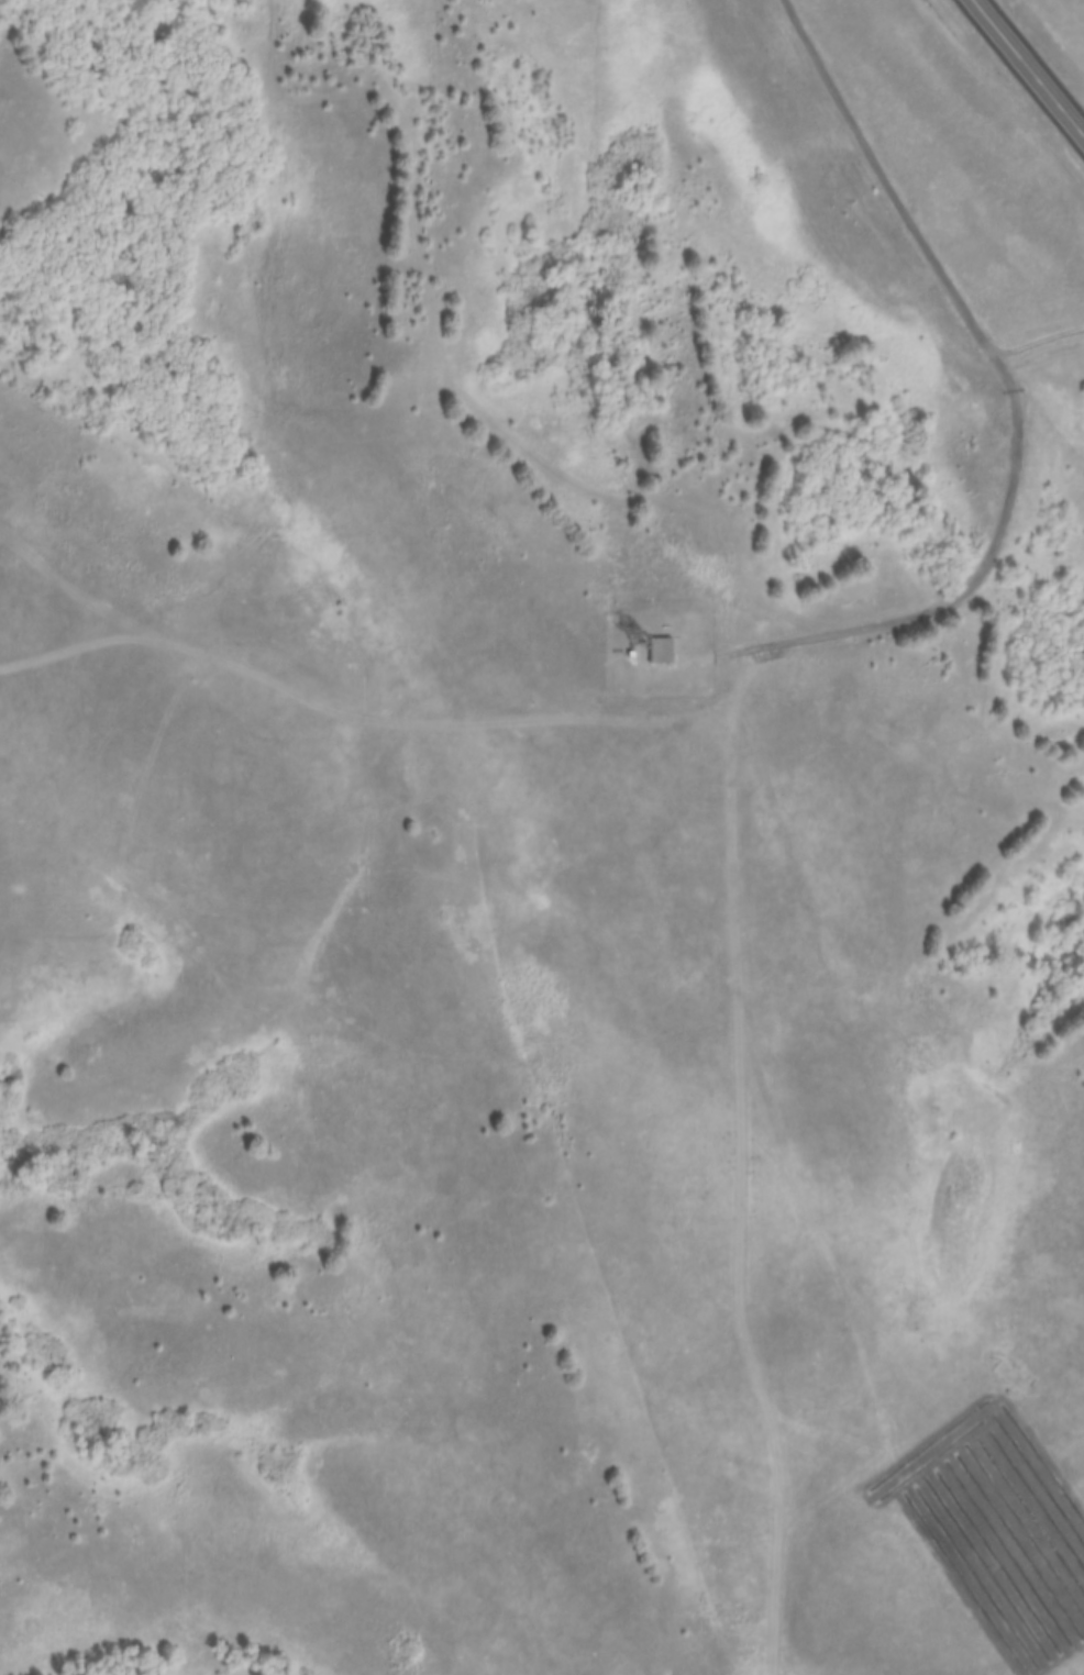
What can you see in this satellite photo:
road: (1028, 66)
road: (1006, 388)
road: (1050, 426)
building: (642, 639)
road: (377, 721)

